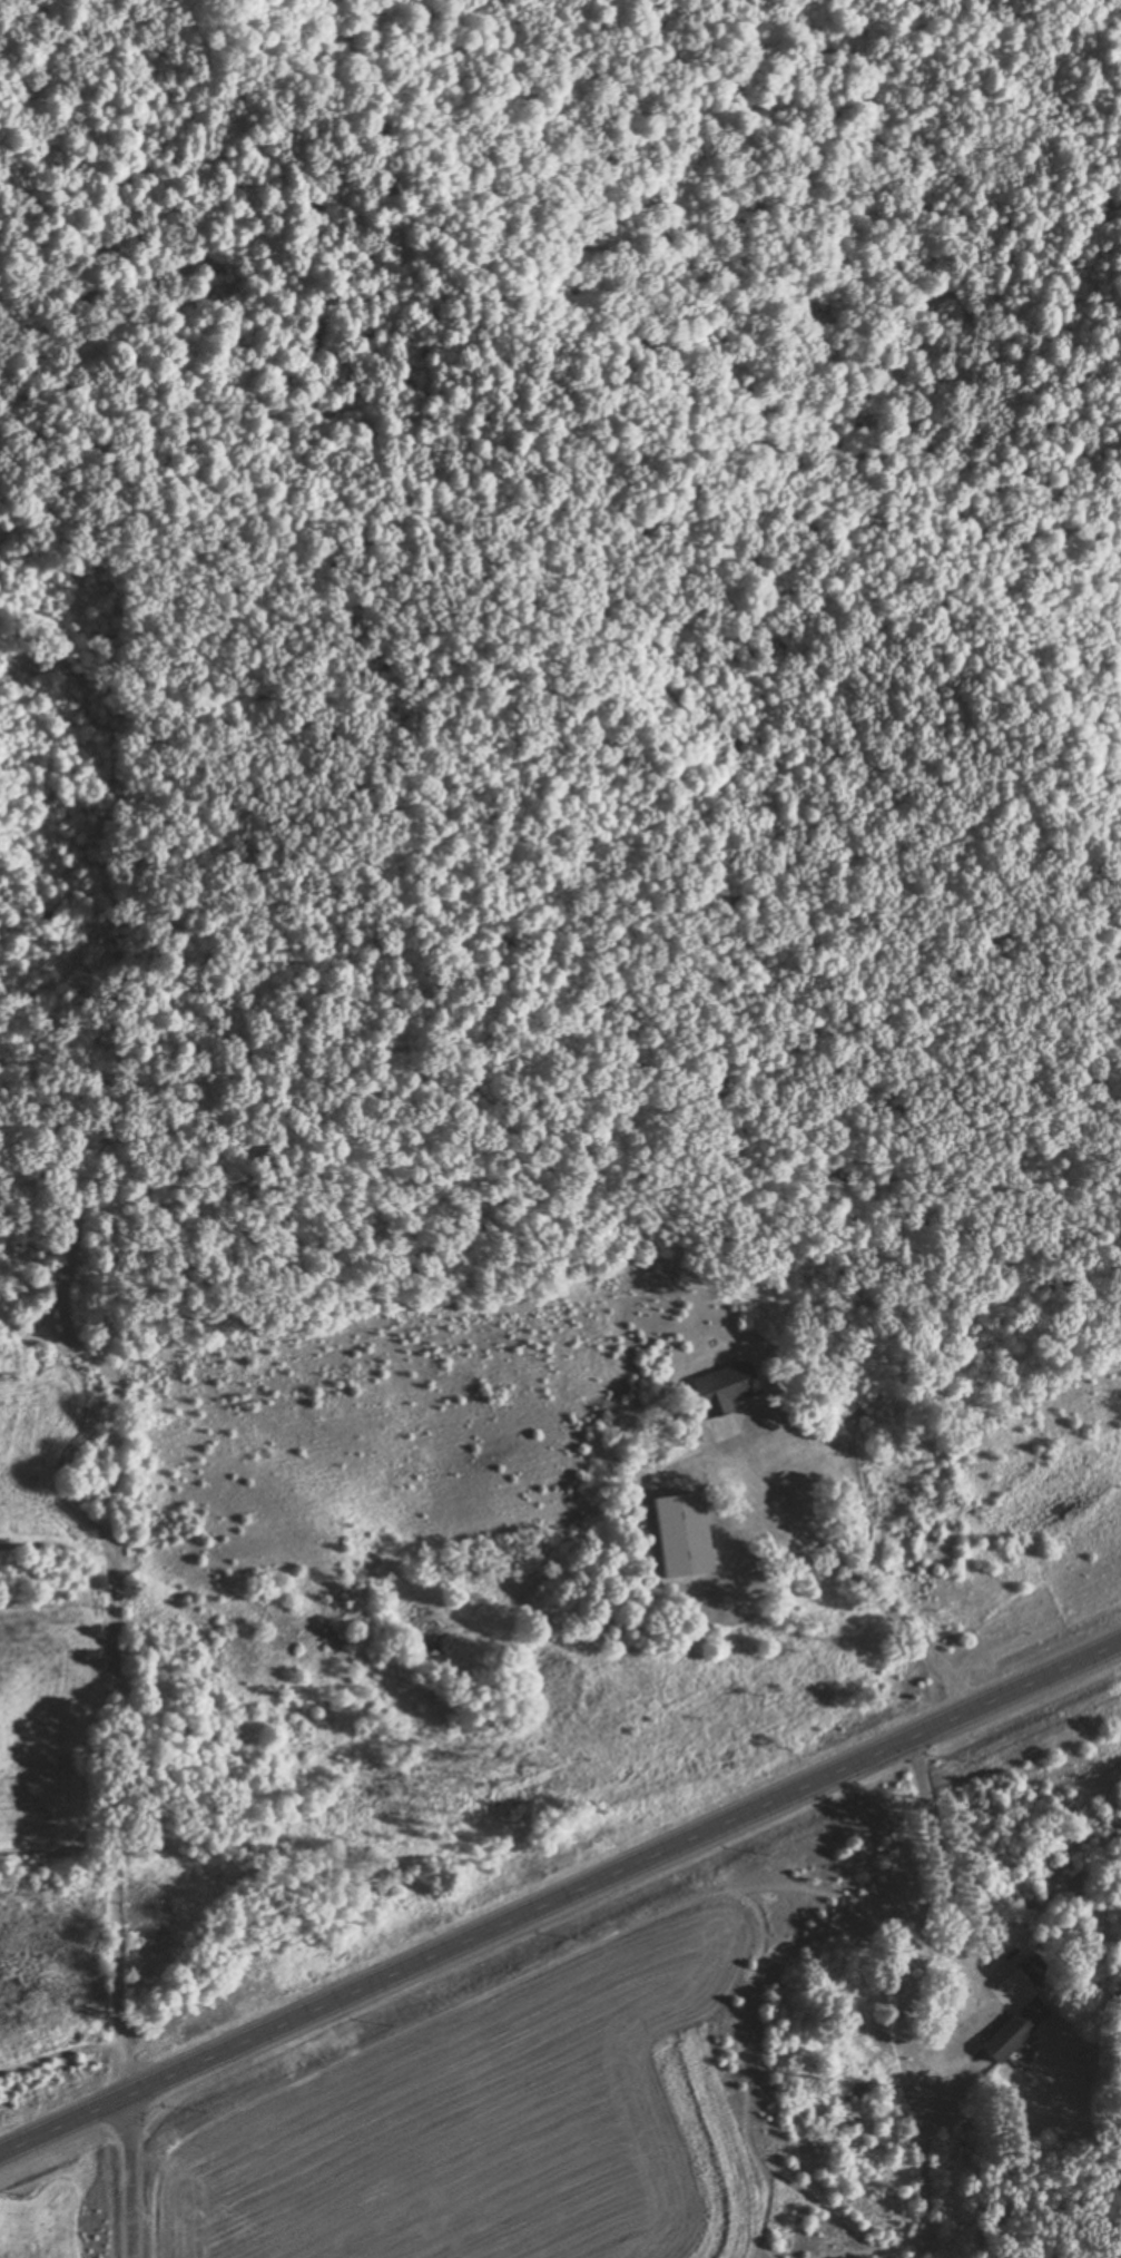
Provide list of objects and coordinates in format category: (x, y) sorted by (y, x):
road: (848, 1574)
road: (560, 1893)
building: (918, 1955)
building: (996, 1962)
building: (962, 1985)
building: (1004, 2036)
road: (128, 2176)

